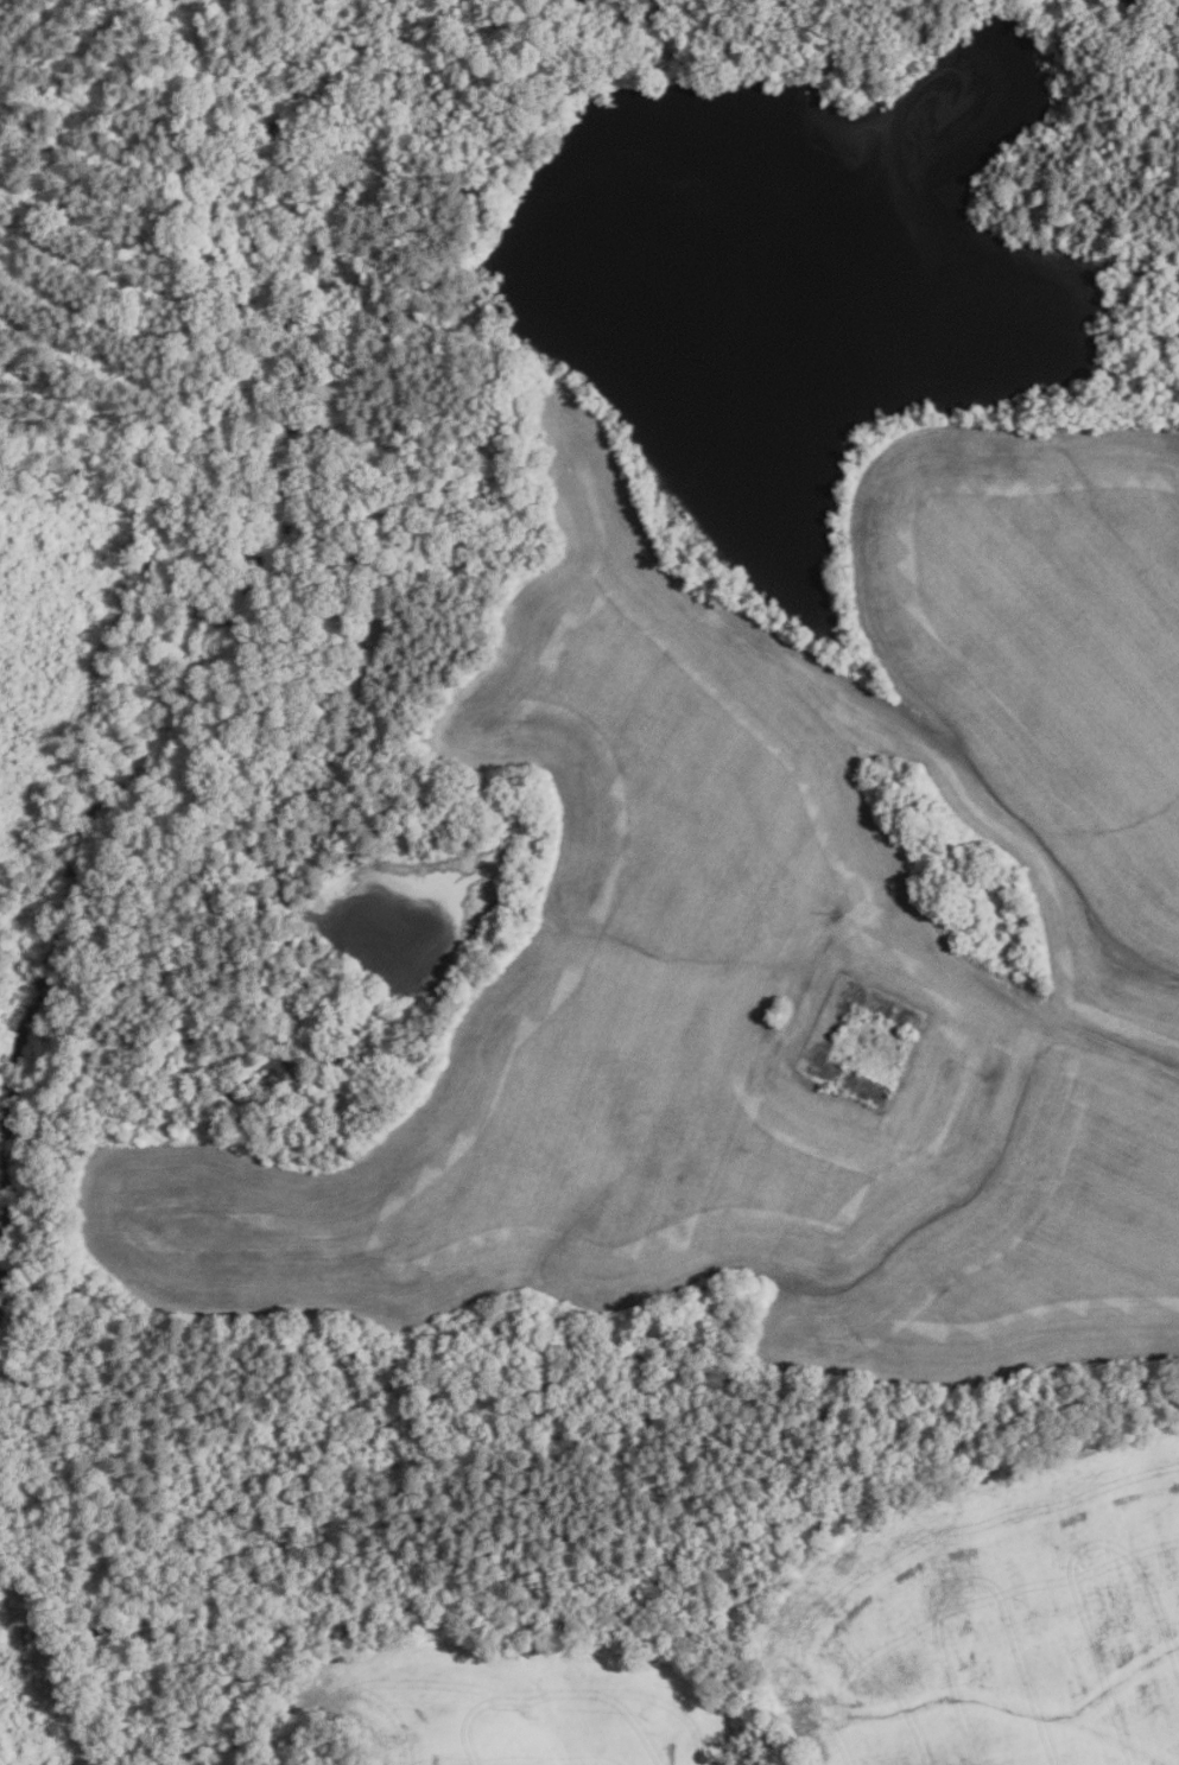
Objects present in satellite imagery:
road: (1063, 1023)

